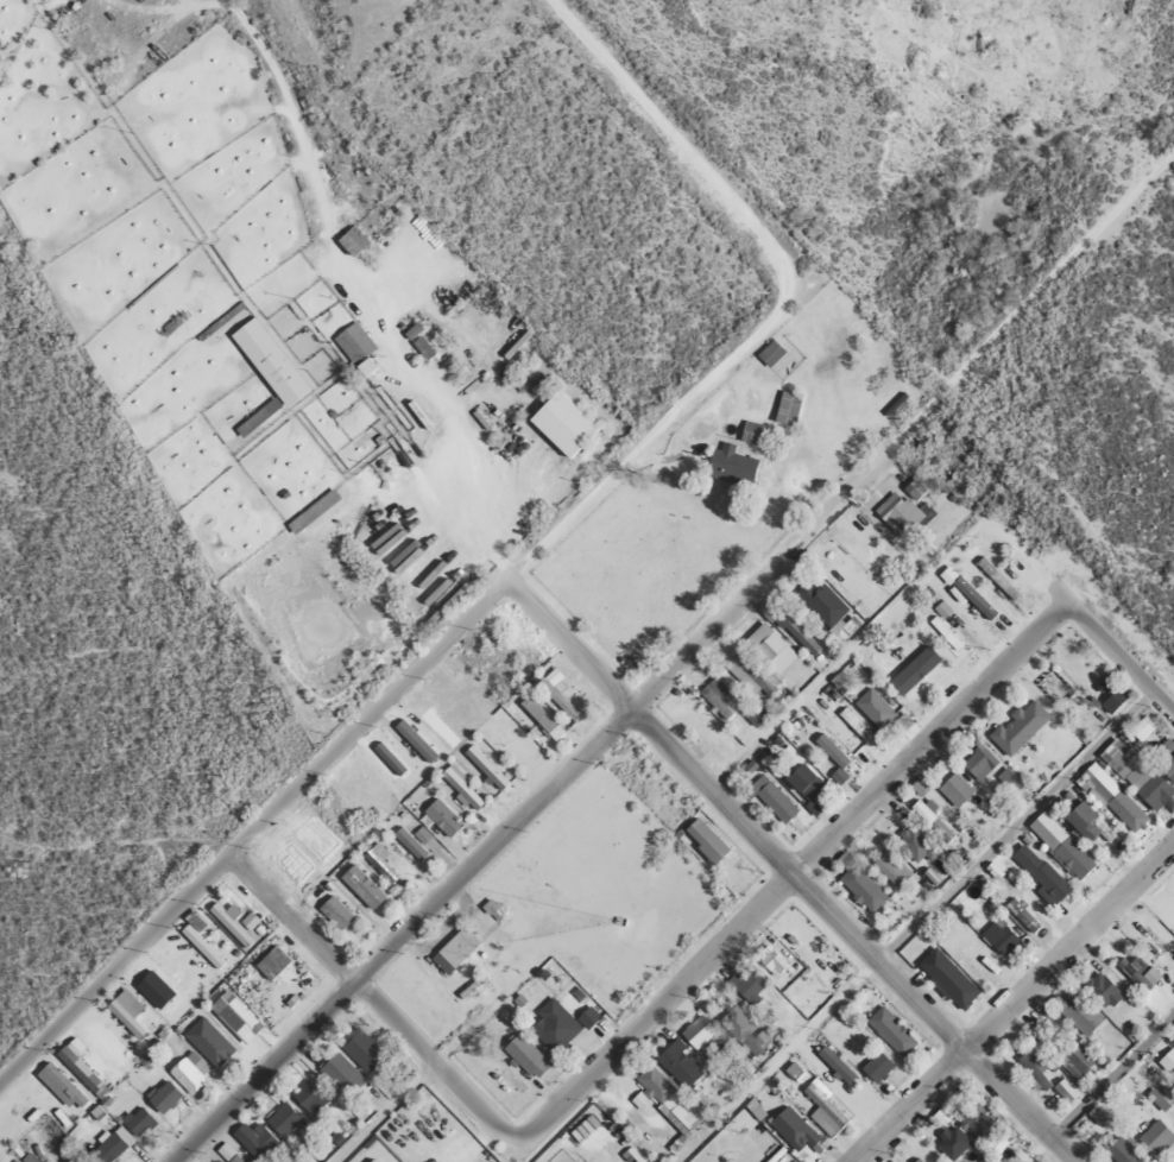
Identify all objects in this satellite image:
road: (707, 131)
building: (351, 241)
road: (1030, 304)
building: (415, 329)
building: (353, 343)
building: (769, 354)
building: (269, 362)
building: (787, 409)
building: (562, 424)
road: (655, 431)
building: (751, 434)
building: (728, 466)
building: (311, 511)
building: (900, 514)
building: (996, 579)
building: (973, 599)
building: (828, 610)
road: (1098, 643)
building: (770, 650)
building: (752, 675)
building: (556, 694)
building: (719, 699)
building: (1112, 700)
building: (872, 709)
building: (541, 718)
building: (853, 725)
building: (1017, 728)
building: (1118, 759)
building: (978, 763)
building: (1169, 766)
building: (484, 768)
building: (803, 783)
building: (460, 789)
building: (954, 790)
building: (1154, 794)
building: (772, 800)
building: (1117, 804)
road: (528, 807)
building: (441, 817)
building: (932, 821)
building: (1093, 822)
road: (252, 829)
building: (703, 841)
building: (409, 845)
building: (913, 845)
building: (1060, 846)
building: (380, 864)
building: (890, 870)
road: (785, 872)
road: (787, 874)
building: (1040, 876)
building: (360, 886)
building: (859, 886)
building: (334, 912)
building: (997, 939)
building: (1147, 946)
building: (453, 951)
building: (771, 961)
building: (271, 962)
building: (1132, 975)
building: (747, 984)
road: (997, 989)
building: (1100, 991)
road: (370, 1002)
building: (233, 1015)
building: (736, 1023)
building: (553, 1025)
building: (696, 1031)
building: (890, 1031)
power tower: (1074, 1036)
building: (360, 1053)
building: (525, 1056)
building: (1073, 1061)
building: (1168, 1061)
building: (834, 1063)
building: (678, 1065)
building: (875, 1067)
building: (1034, 1072)
building: (188, 1073)
building: (339, 1074)
road: (1110, 1076)
building: (1159, 1095)
building: (163, 1097)
building: (309, 1097)
building: (664, 1097)
building: (823, 1112)
road: (381, 1113)
building: (283, 1119)
building: (974, 1120)
building: (137, 1122)
power tower: (733, 1126)
building: (796, 1132)
building: (1154, 1138)
road: (728, 1141)
building: (255, 1142)
building: (952, 1142)
building: (101, 1150)
building: (1119, 1151)
building: (234, 1158)
building: (916, 1160)
road: (1172, 1160)
building: (370, 1161)

